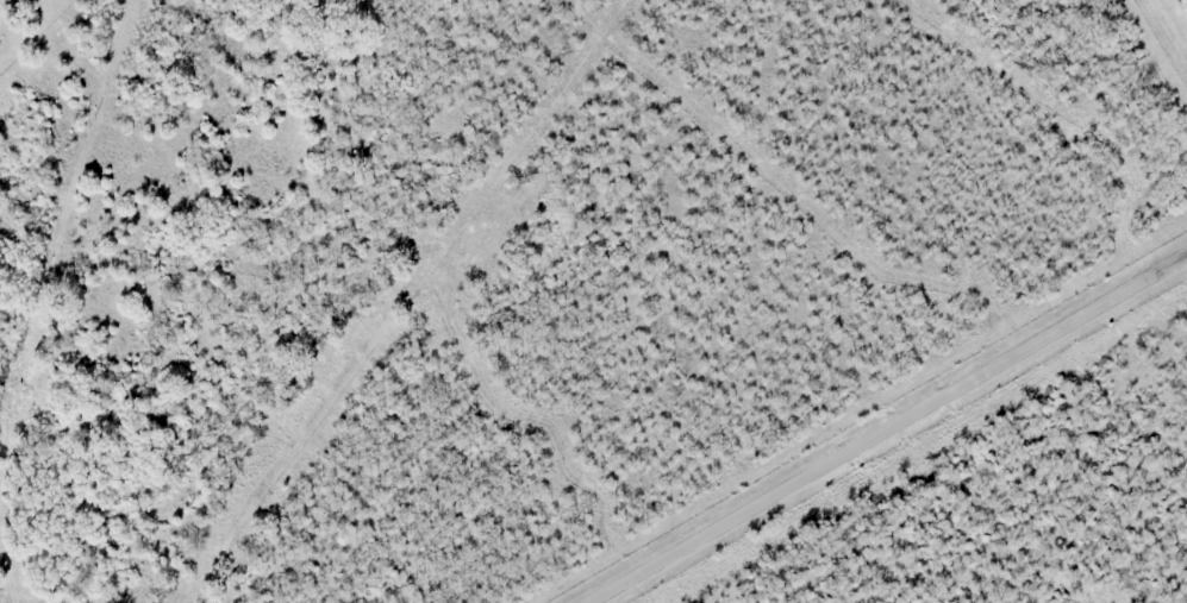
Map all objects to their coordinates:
road: (886, 431)

